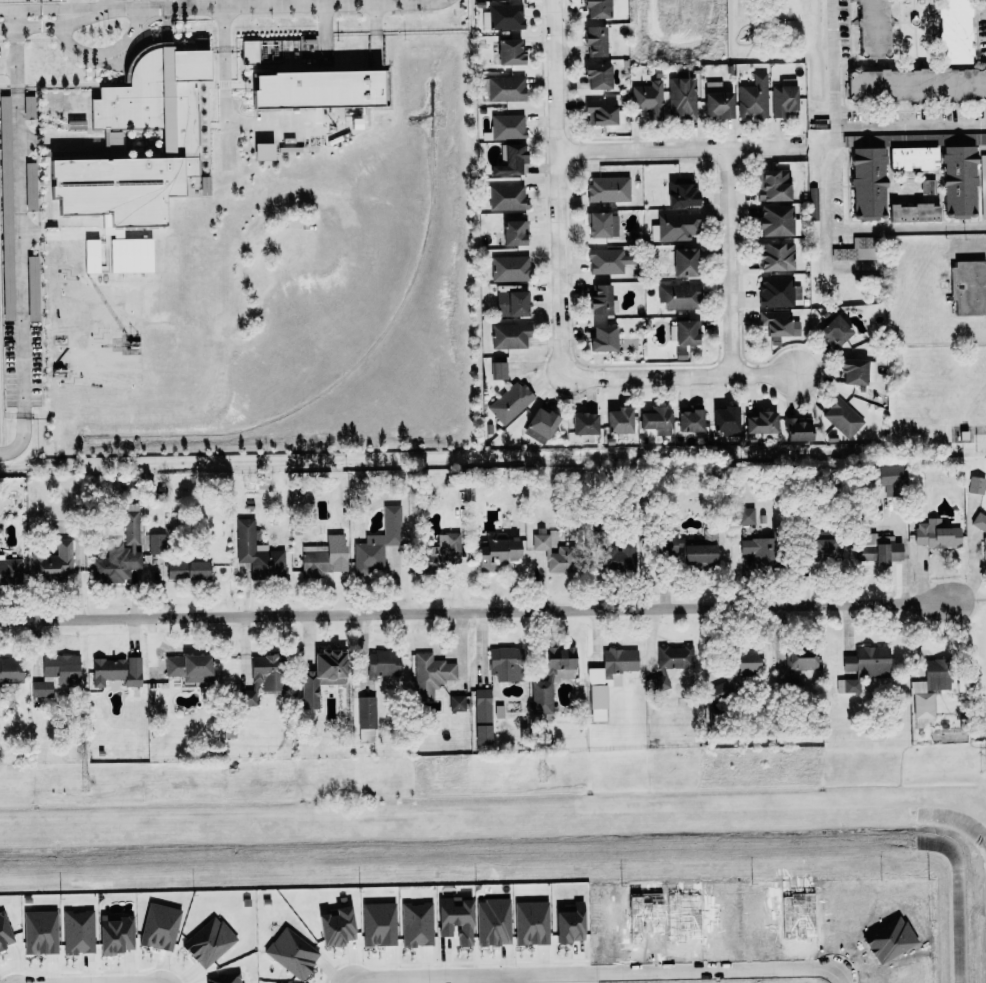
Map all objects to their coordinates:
road: (300, 2)
road: (339, 2)
road: (184, 3)
road: (263, 3)
road: (78, 4)
road: (105, 4)
road: (275, 5)
road: (53, 6)
building: (595, 8)
building: (502, 17)
road: (54, 26)
building: (874, 28)
road: (325, 29)
building: (954, 31)
road: (376, 33)
building: (593, 40)
road: (109, 51)
building: (247, 51)
building: (508, 51)
road: (6, 65)
building: (596, 75)
building: (917, 86)
building: (505, 88)
building: (314, 89)
building: (752, 97)
building: (647, 98)
building: (716, 100)
building: (783, 100)
building: (27, 107)
building: (602, 111)
road: (833, 114)
road: (231, 122)
road: (909, 126)
building: (506, 127)
building: (136, 140)
road: (678, 145)
building: (261, 151)
building: (4, 154)
building: (914, 158)
building: (508, 160)
road: (14, 168)
building: (959, 181)
building: (868, 182)
road: (556, 183)
building: (772, 184)
building: (982, 185)
building: (29, 186)
building: (607, 189)
building: (680, 192)
building: (505, 197)
building: (915, 212)
building: (773, 220)
building: (601, 224)
building: (674, 226)
road: (911, 226)
building: (514, 232)
building: (863, 247)
road: (972, 251)
building: (775, 254)
building: (609, 260)
building: (684, 260)
road: (728, 260)
building: (510, 268)
building: (969, 285)
building: (776, 292)
building: (600, 296)
building: (512, 303)
building: (783, 327)
building: (836, 331)
building: (511, 335)
building: (604, 337)
building: (499, 370)
building: (858, 370)
road: (682, 375)
road: (19, 396)
building: (510, 402)
building: (843, 417)
building: (691, 419)
building: (620, 420)
building: (658, 420)
building: (726, 420)
building: (762, 422)
building: (585, 423)
building: (541, 425)
building: (799, 429)
building: (890, 474)
building: (977, 485)
building: (746, 515)
building: (936, 534)
building: (157, 543)
building: (379, 544)
building: (667, 545)
building: (984, 545)
building: (825, 546)
building: (877, 549)
building: (701, 550)
building: (759, 550)
building: (121, 551)
building: (443, 552)
building: (258, 553)
building: (498, 553)
building: (554, 553)
building: (621, 556)
building: (325, 557)
building: (54, 562)
building: (188, 570)
building: (10, 571)
road: (476, 615)
building: (675, 657)
building: (801, 659)
building: (507, 663)
building: (383, 664)
building: (865, 666)
building: (191, 667)
building: (63, 669)
building: (117, 671)
building: (269, 671)
building: (10, 672)
building: (431, 674)
building: (322, 676)
building: (553, 677)
building: (609, 678)
building: (42, 689)
building: (930, 690)
building: (250, 696)
building: (457, 703)
building: (483, 716)
building: (367, 719)
power tower: (983, 762)
power tower: (542, 772)
power tower: (84, 782)
building: (379, 924)
building: (417, 924)
building: (160, 926)
building: (336, 926)
building: (5, 932)
building: (79, 932)
building: (41, 933)
building: (116, 933)
building: (209, 941)
road: (721, 975)
road: (469, 976)
road: (513, 979)
road: (344, 981)

